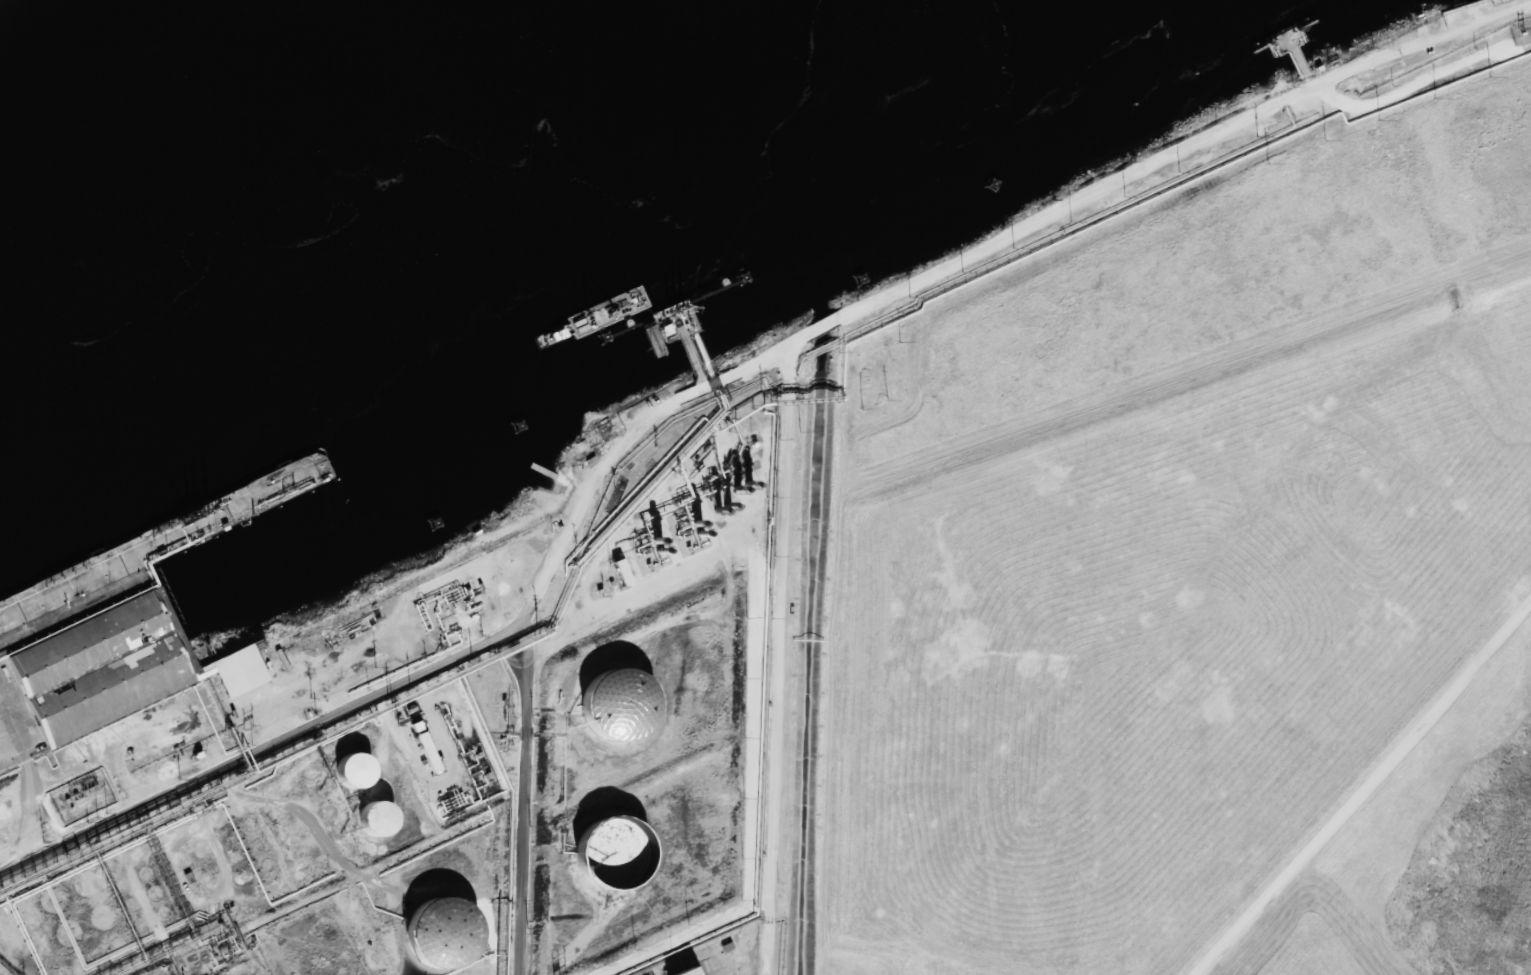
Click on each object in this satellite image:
road: (1413, 40)
river: (346, 178)
road: (791, 379)
building: (620, 573)
building: (235, 673)
building: (85, 684)
road: (405, 689)
building: (620, 709)
storage tank: (620, 709)
building: (431, 765)
building: (356, 776)
storage tank: (356, 776)
road: (1364, 789)
building: (379, 824)
storage tank: (379, 824)
building: (613, 853)
storage tank: (613, 853)
building: (442, 938)
storage tank: (442, 938)
building: (725, 950)
building: (684, 973)

